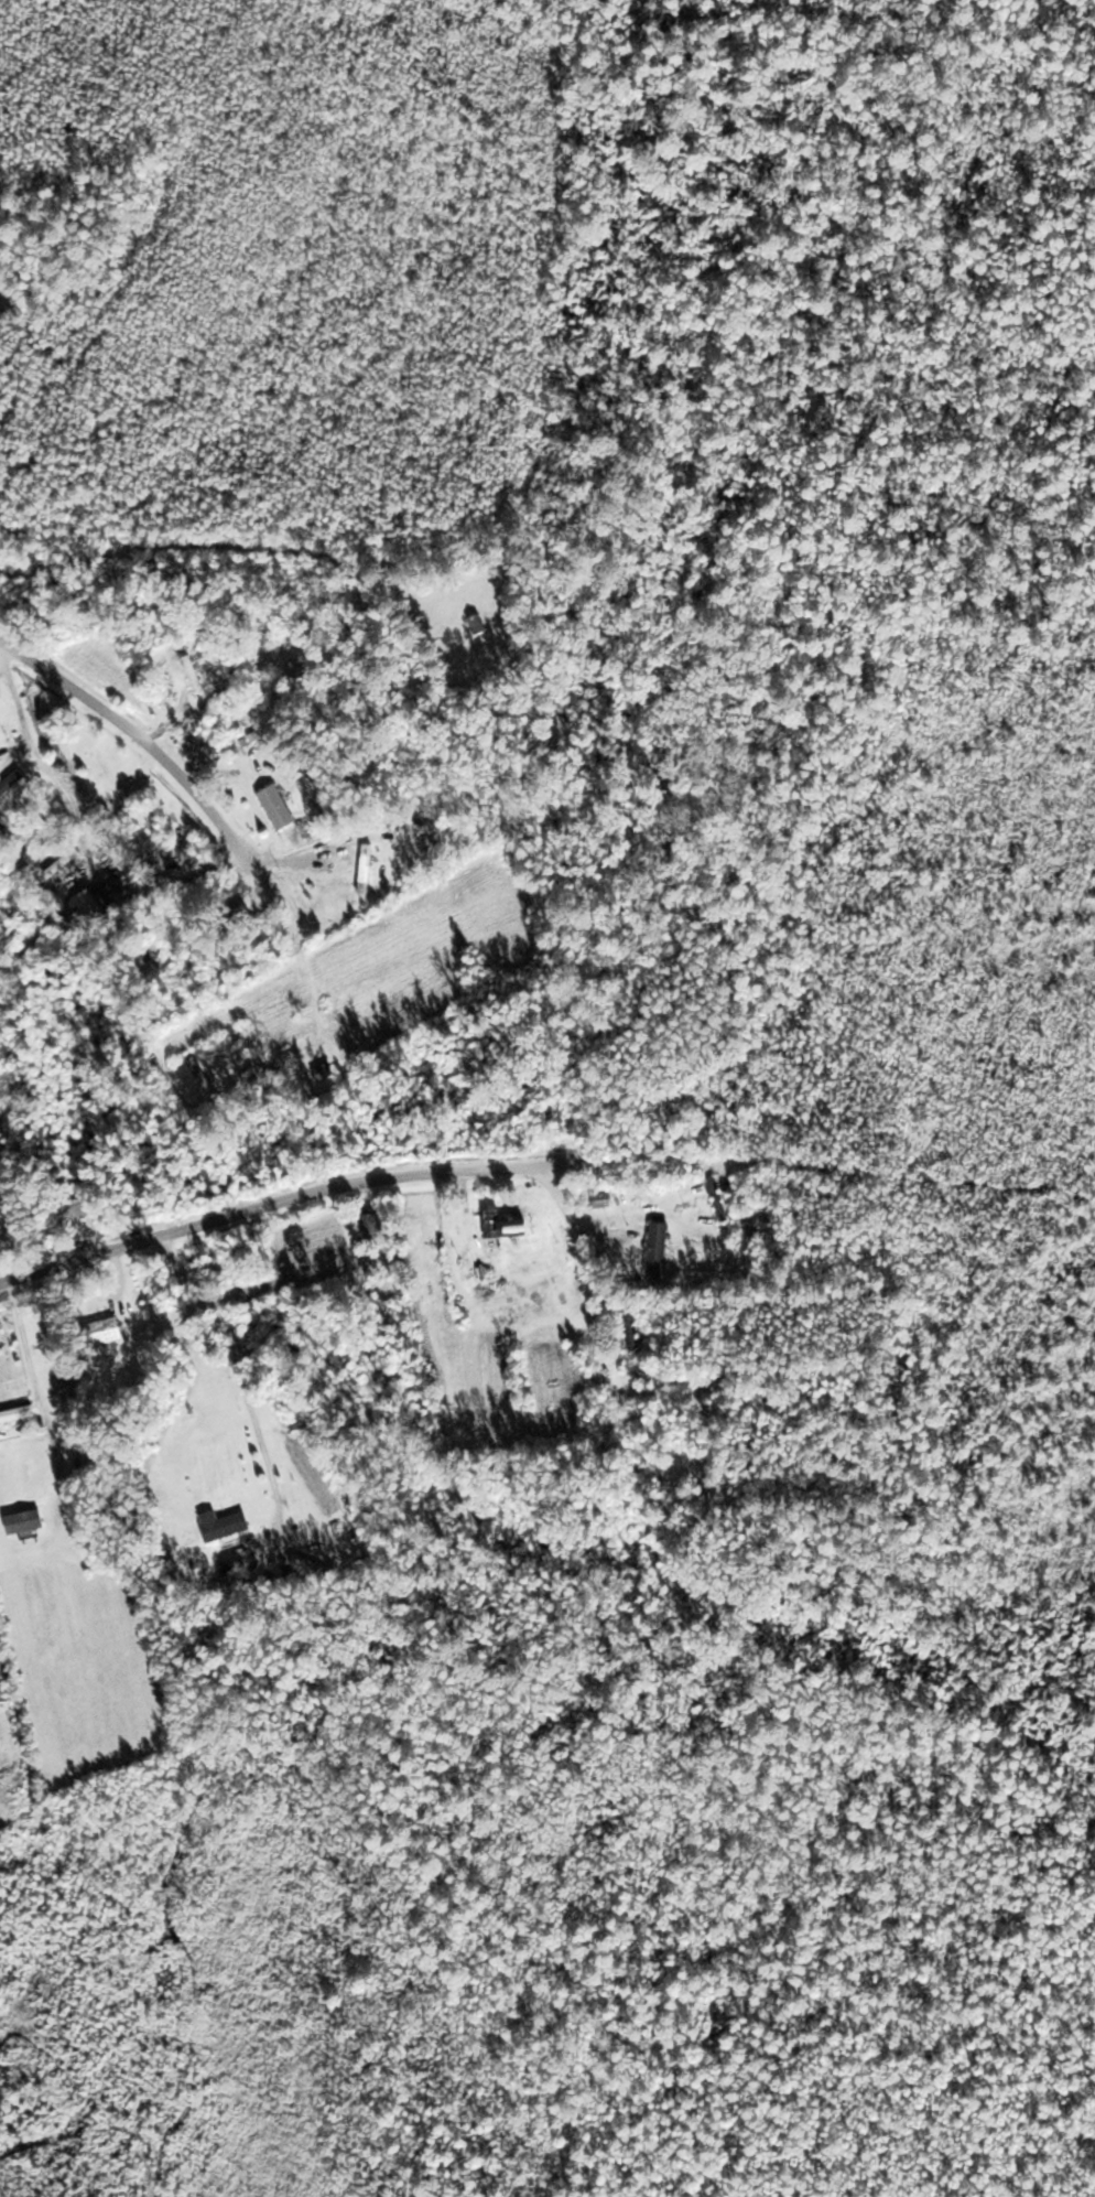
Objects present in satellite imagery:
building: (481, 623)
building: (223, 666)
building: (198, 679)
road: (137, 736)
building: (13, 783)
building: (281, 807)
building: (66, 862)
building: (359, 869)
building: (90, 907)
building: (329, 1071)
road: (400, 1175)
building: (716, 1199)
building: (79, 1207)
building: (373, 1225)
building: (507, 1225)
building: (654, 1250)
building: (489, 1271)
building: (117, 1329)
building: (632, 1331)
road: (657, 1379)
building: (19, 1414)
building: (29, 1522)
building: (220, 1526)

